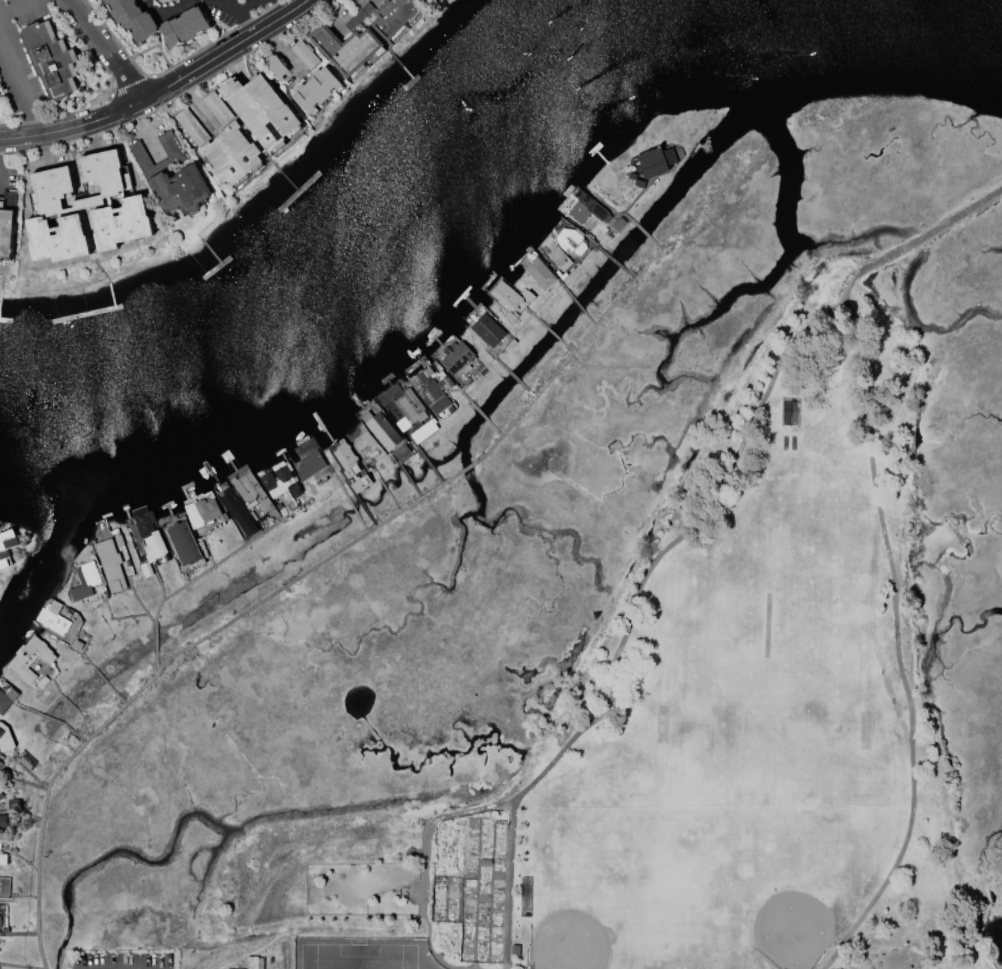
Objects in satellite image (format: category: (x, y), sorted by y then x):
building: (98, 0)
road: (144, 0)
road: (145, 0)
building: (427, 0)
road: (285, 5)
road: (248, 6)
river: (935, 7)
road: (18, 8)
road: (235, 9)
road: (164, 11)
building: (393, 17)
building: (131, 19)
building: (184, 28)
road: (104, 50)
building: (346, 50)
road: (285, 52)
building: (304, 54)
building: (50, 60)
building: (276, 67)
road: (20, 87)
building: (316, 90)
road: (162, 91)
road: (198, 107)
building: (217, 109)
building: (261, 111)
building: (192, 128)
road: (145, 139)
building: (231, 155)
building: (656, 162)
building: (172, 178)
building: (52, 184)
building: (586, 209)
building: (121, 224)
building: (7, 225)
building: (56, 239)
building: (571, 242)
river: (369, 248)
building: (539, 274)
building: (505, 296)
building: (488, 331)
building: (457, 358)
road: (859, 371)
building: (431, 390)
building: (409, 410)
building: (381, 430)
building: (310, 465)
building: (351, 467)
building: (280, 481)
building: (251, 491)
road: (709, 500)
building: (202, 512)
building: (238, 513)
building: (149, 534)
building: (183, 544)
building: (6, 547)
building: (111, 565)
building: (85, 582)
road: (193, 582)
road: (288, 585)
building: (53, 618)
park: (766, 622)
building: (20, 659)
building: (6, 699)
road: (911, 718)
park: (763, 725)
park: (712, 735)
building: (5, 739)
building: (27, 761)
building: (0, 763)
building: (0, 765)
building: (1, 795)
building: (2, 821)
building: (0, 843)
building: (3, 860)
road: (509, 879)
road: (394, 891)
road: (424, 909)
building: (0, 923)
park: (794, 926)
park: (568, 939)
park: (362, 952)
road: (892, 959)
parking lot: (124, 960)

